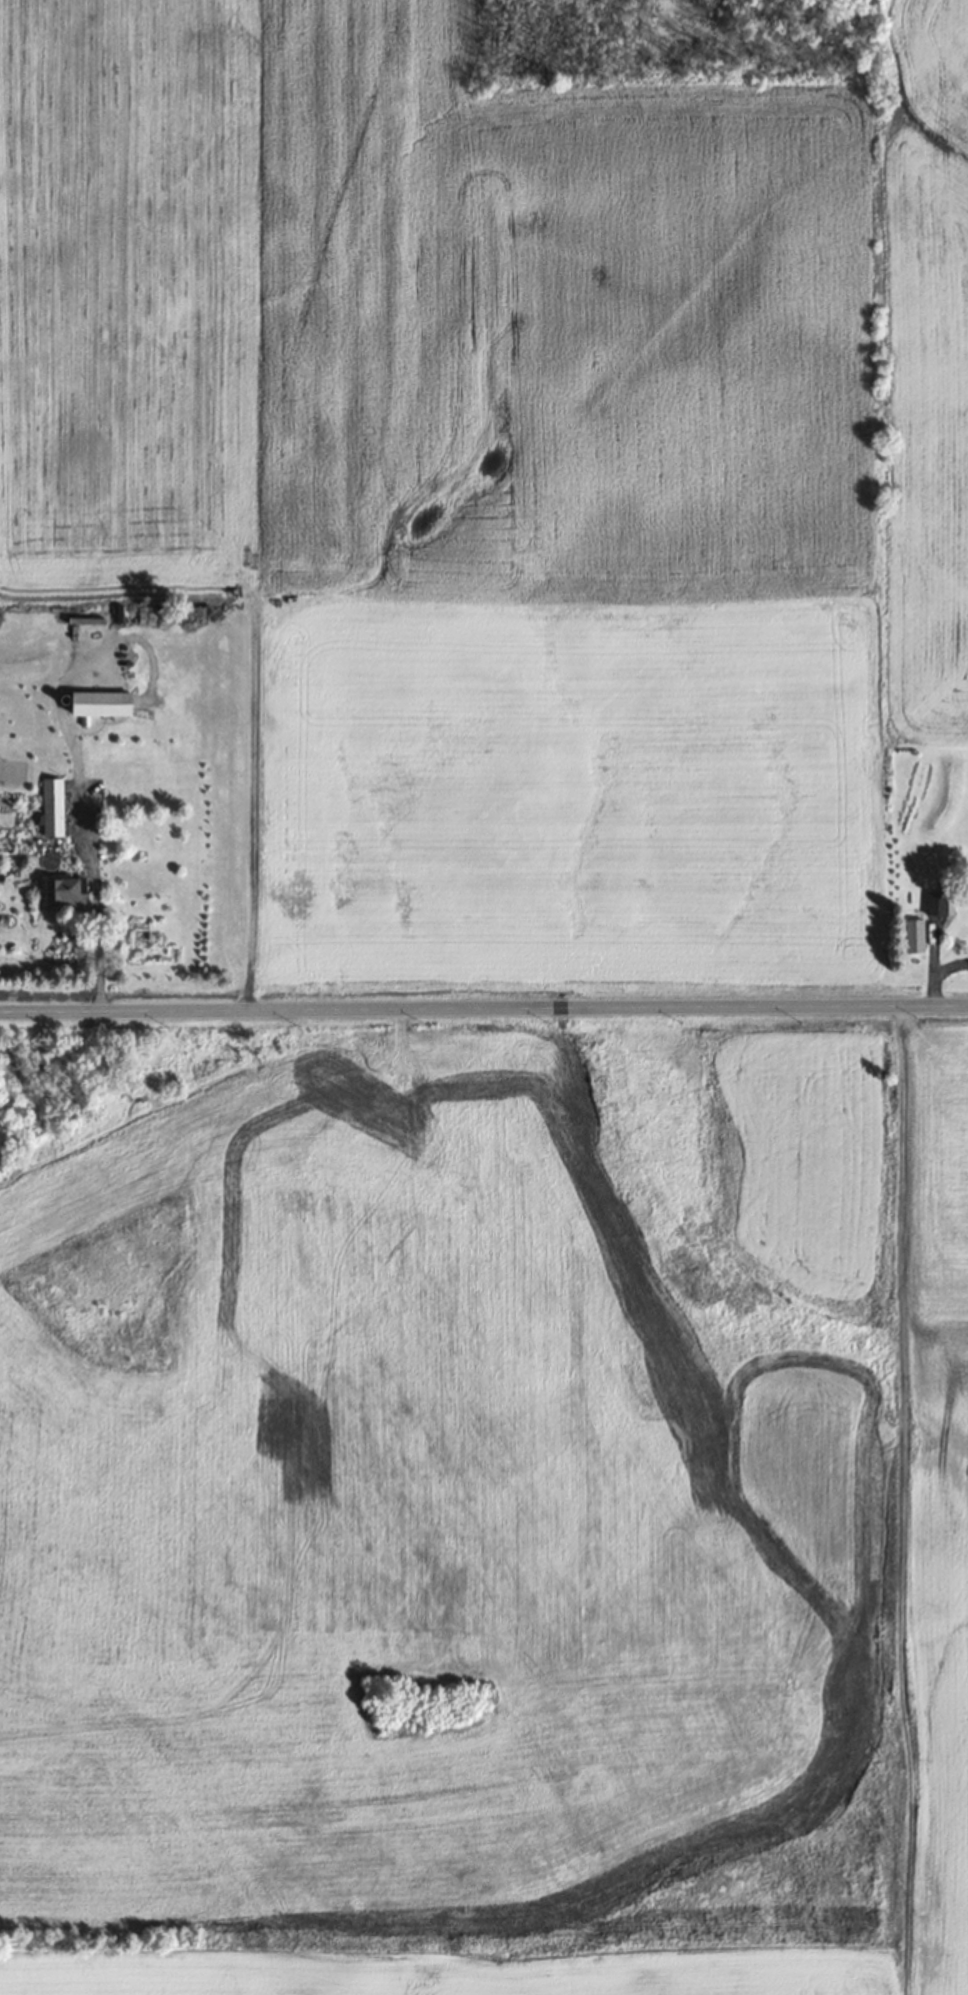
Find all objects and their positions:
building: (97, 703)
building: (51, 807)
road: (79, 824)
building: (58, 889)
building: (940, 904)
road: (484, 1016)

